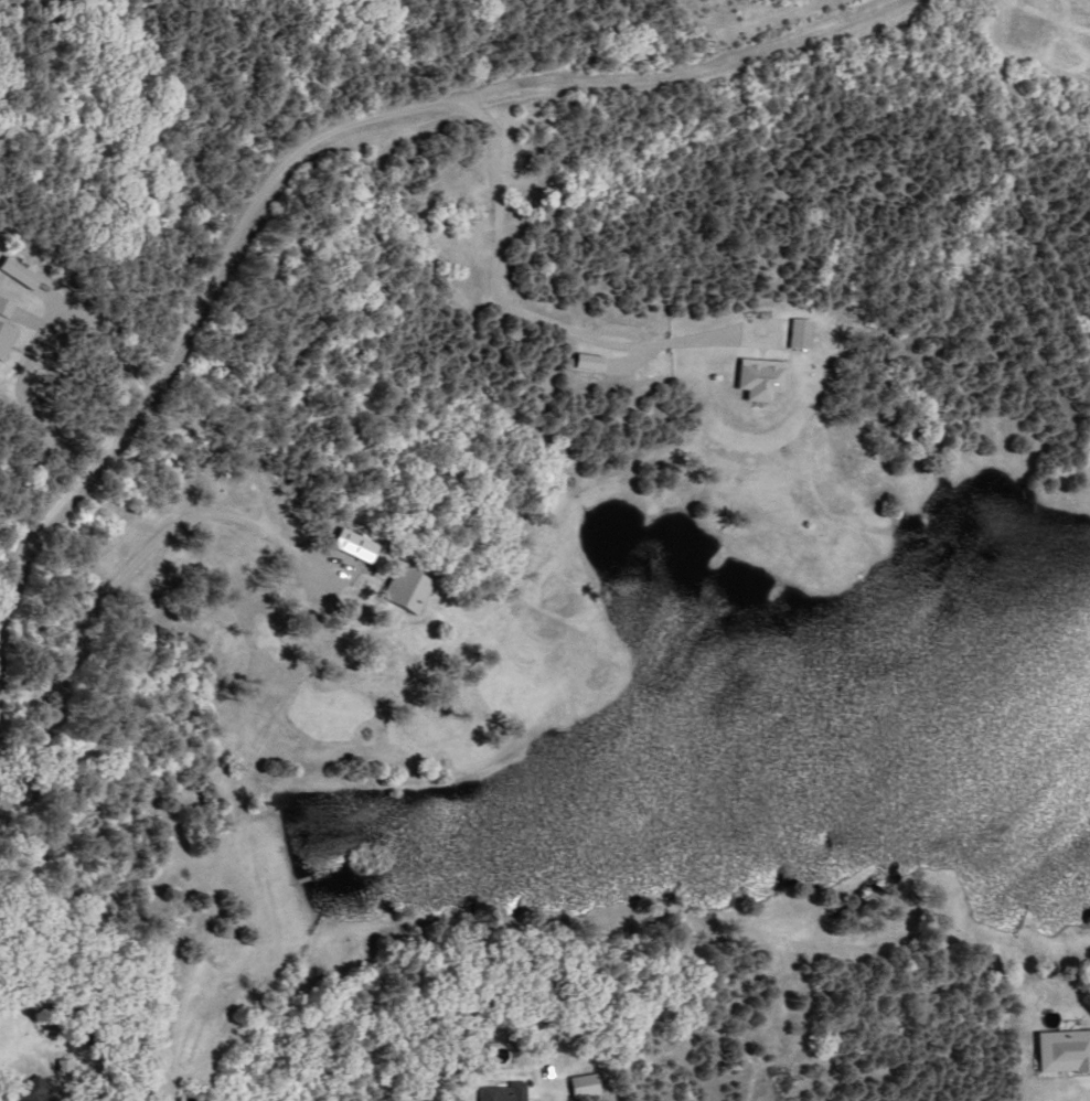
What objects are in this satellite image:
building: (1048, 1050)

